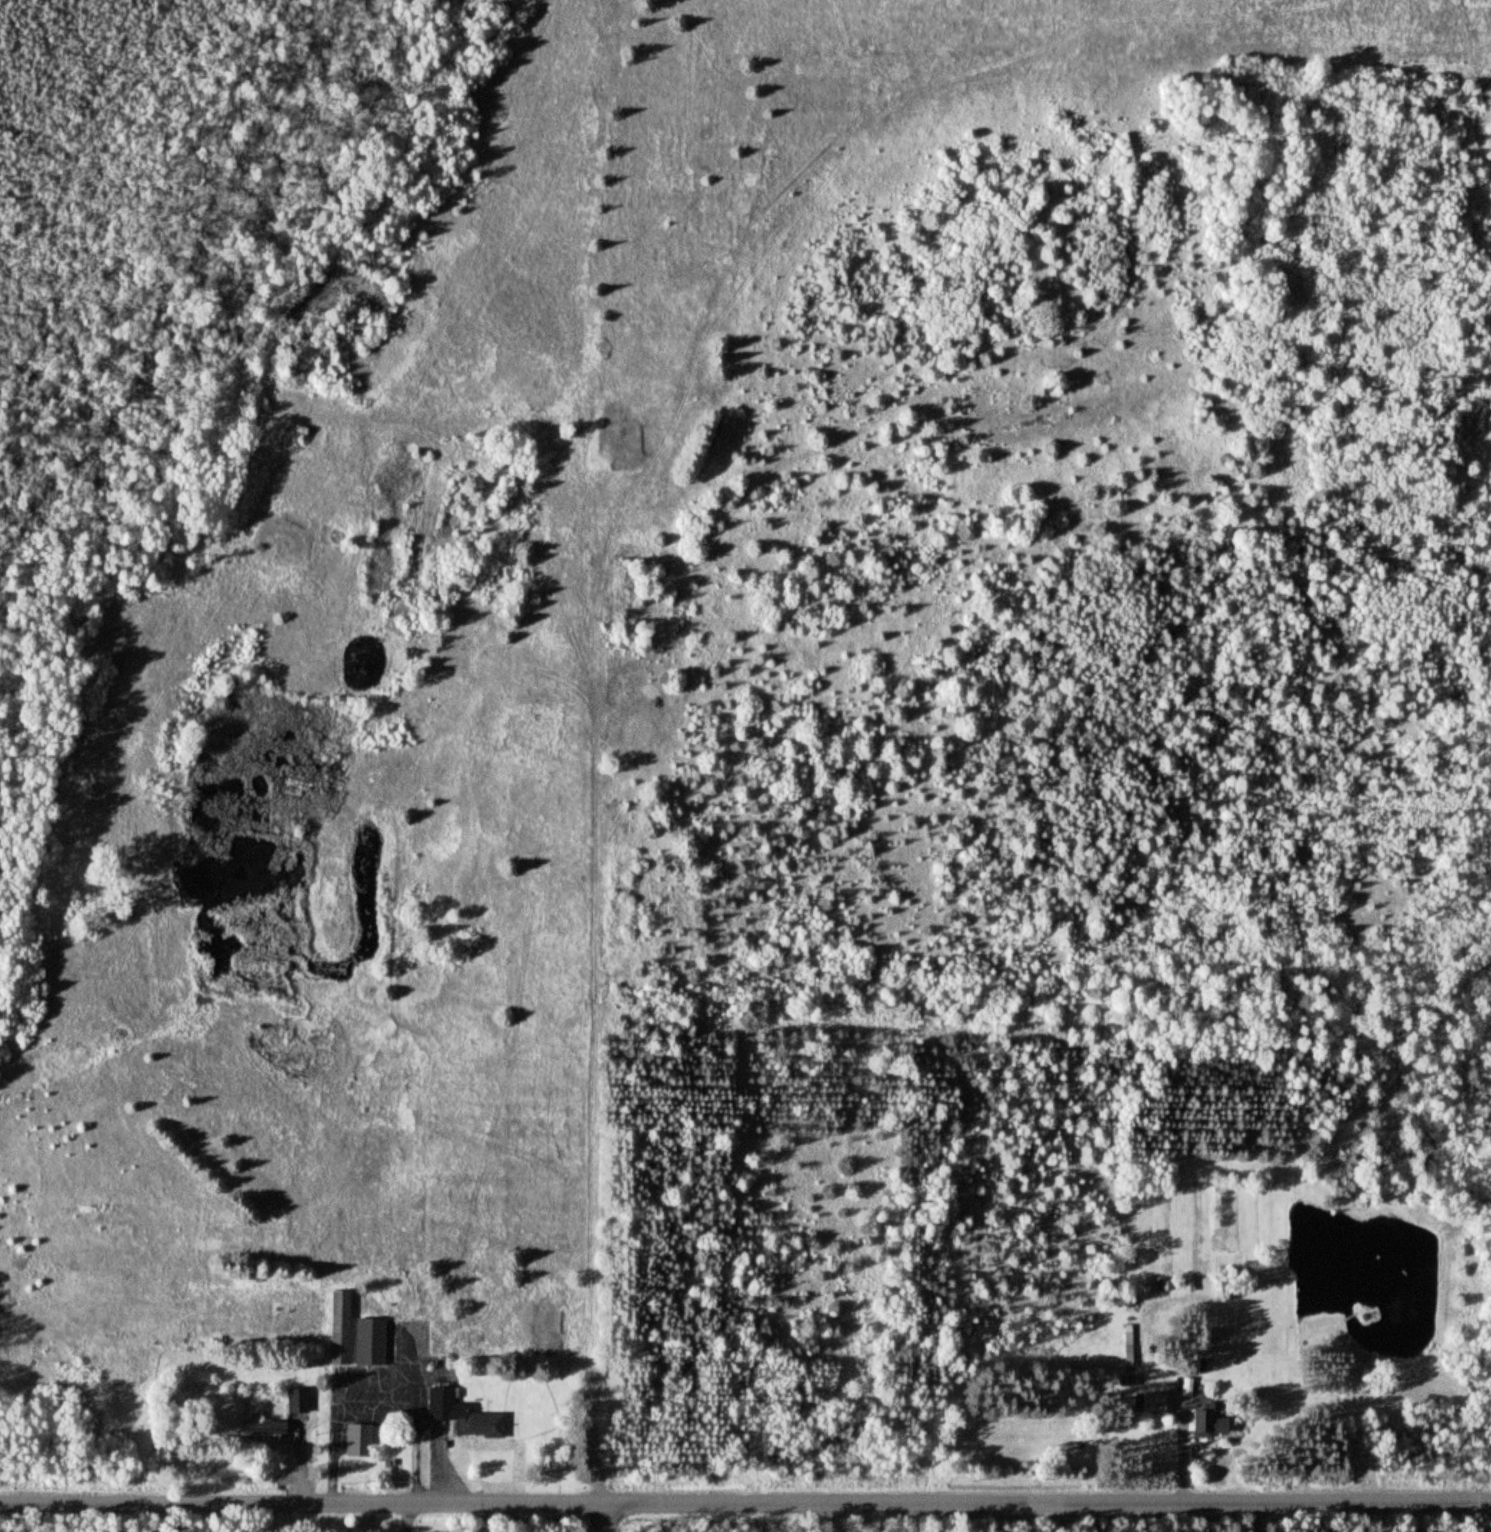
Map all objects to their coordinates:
building: (339, 1329)
parking lot: (370, 1395)
building: (296, 1402)
building: (1155, 1404)
building: (463, 1416)
building: (1211, 1424)
building: (264, 1428)
building: (358, 1441)
road: (745, 1503)
road: (406, 1517)
road: (604, 1518)

